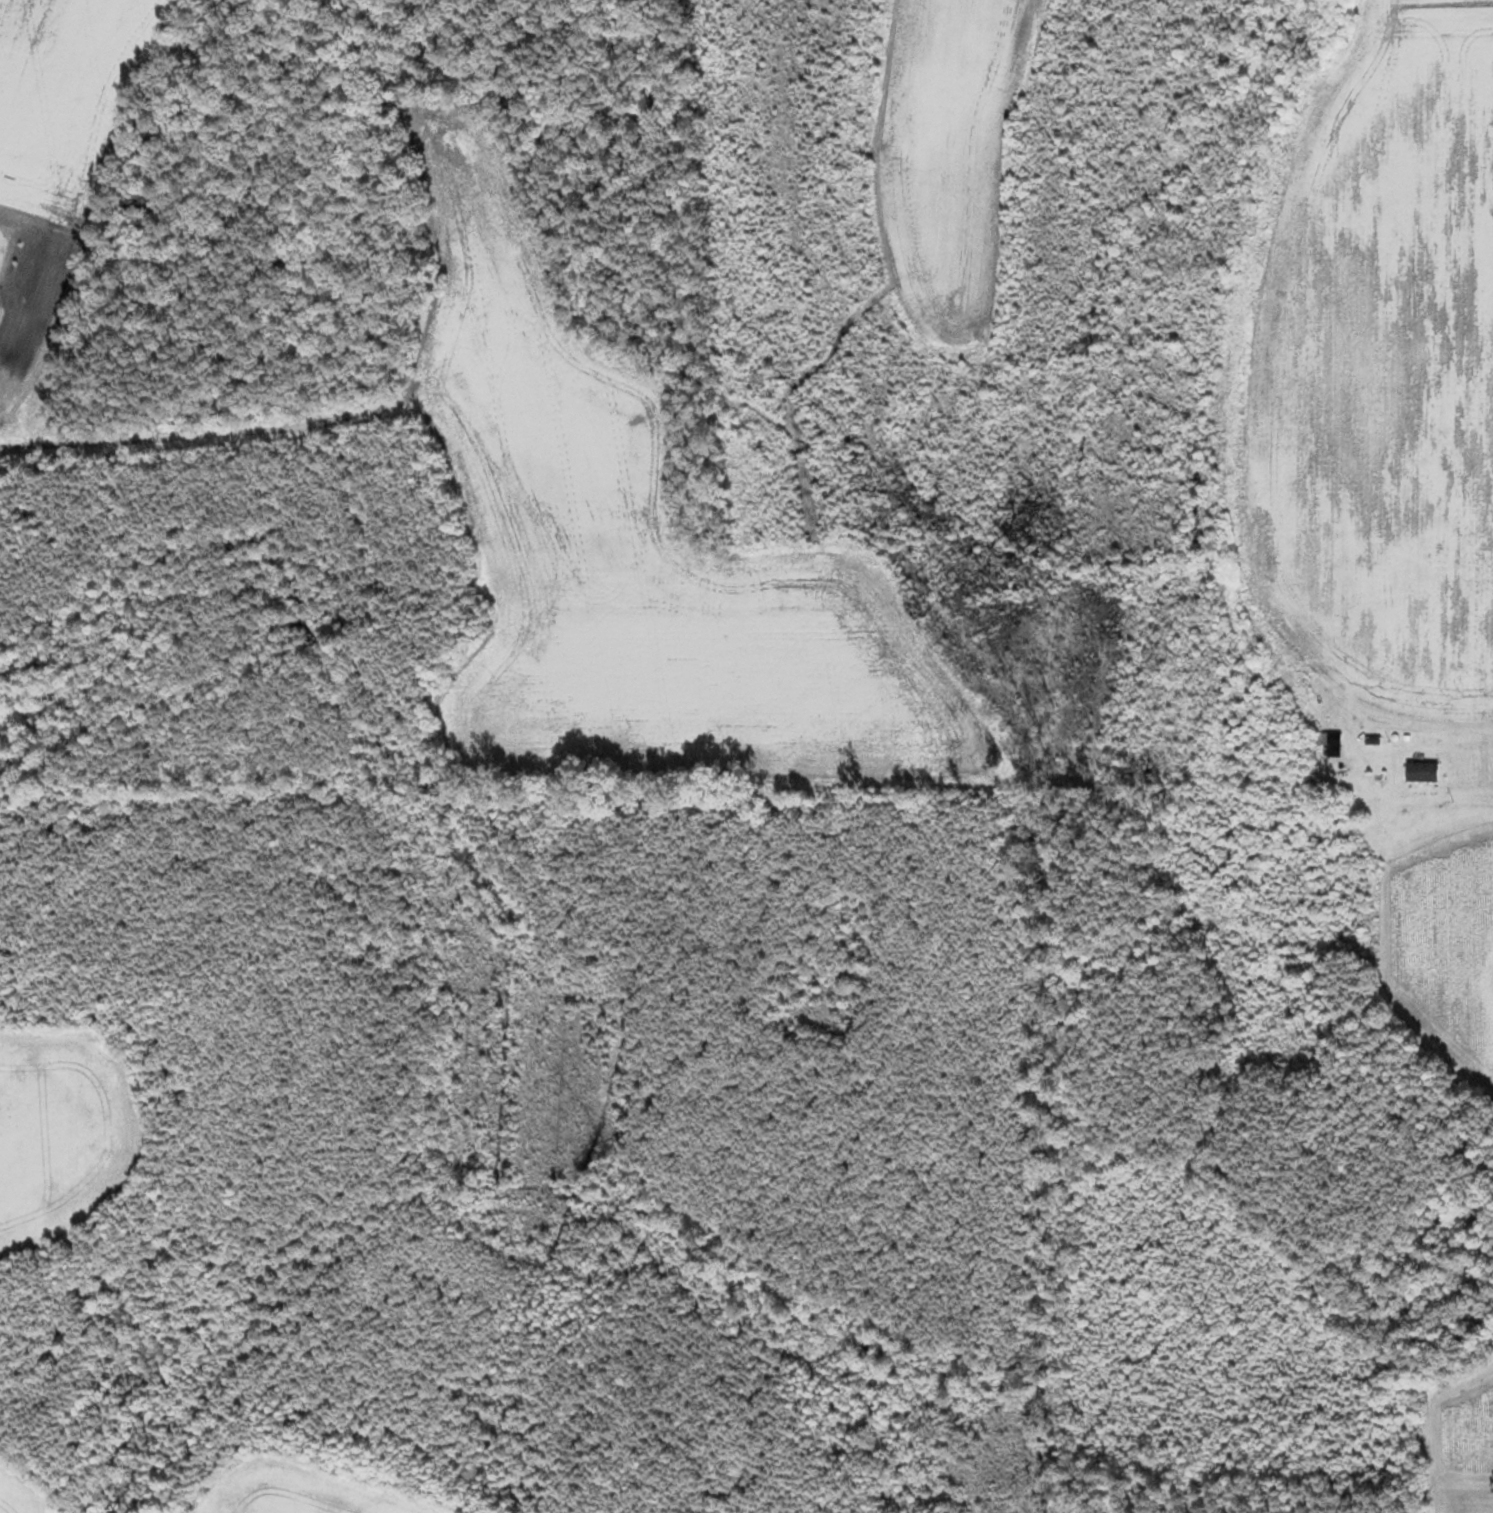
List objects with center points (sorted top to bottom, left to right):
building: (1334, 744)
building: (1422, 772)

